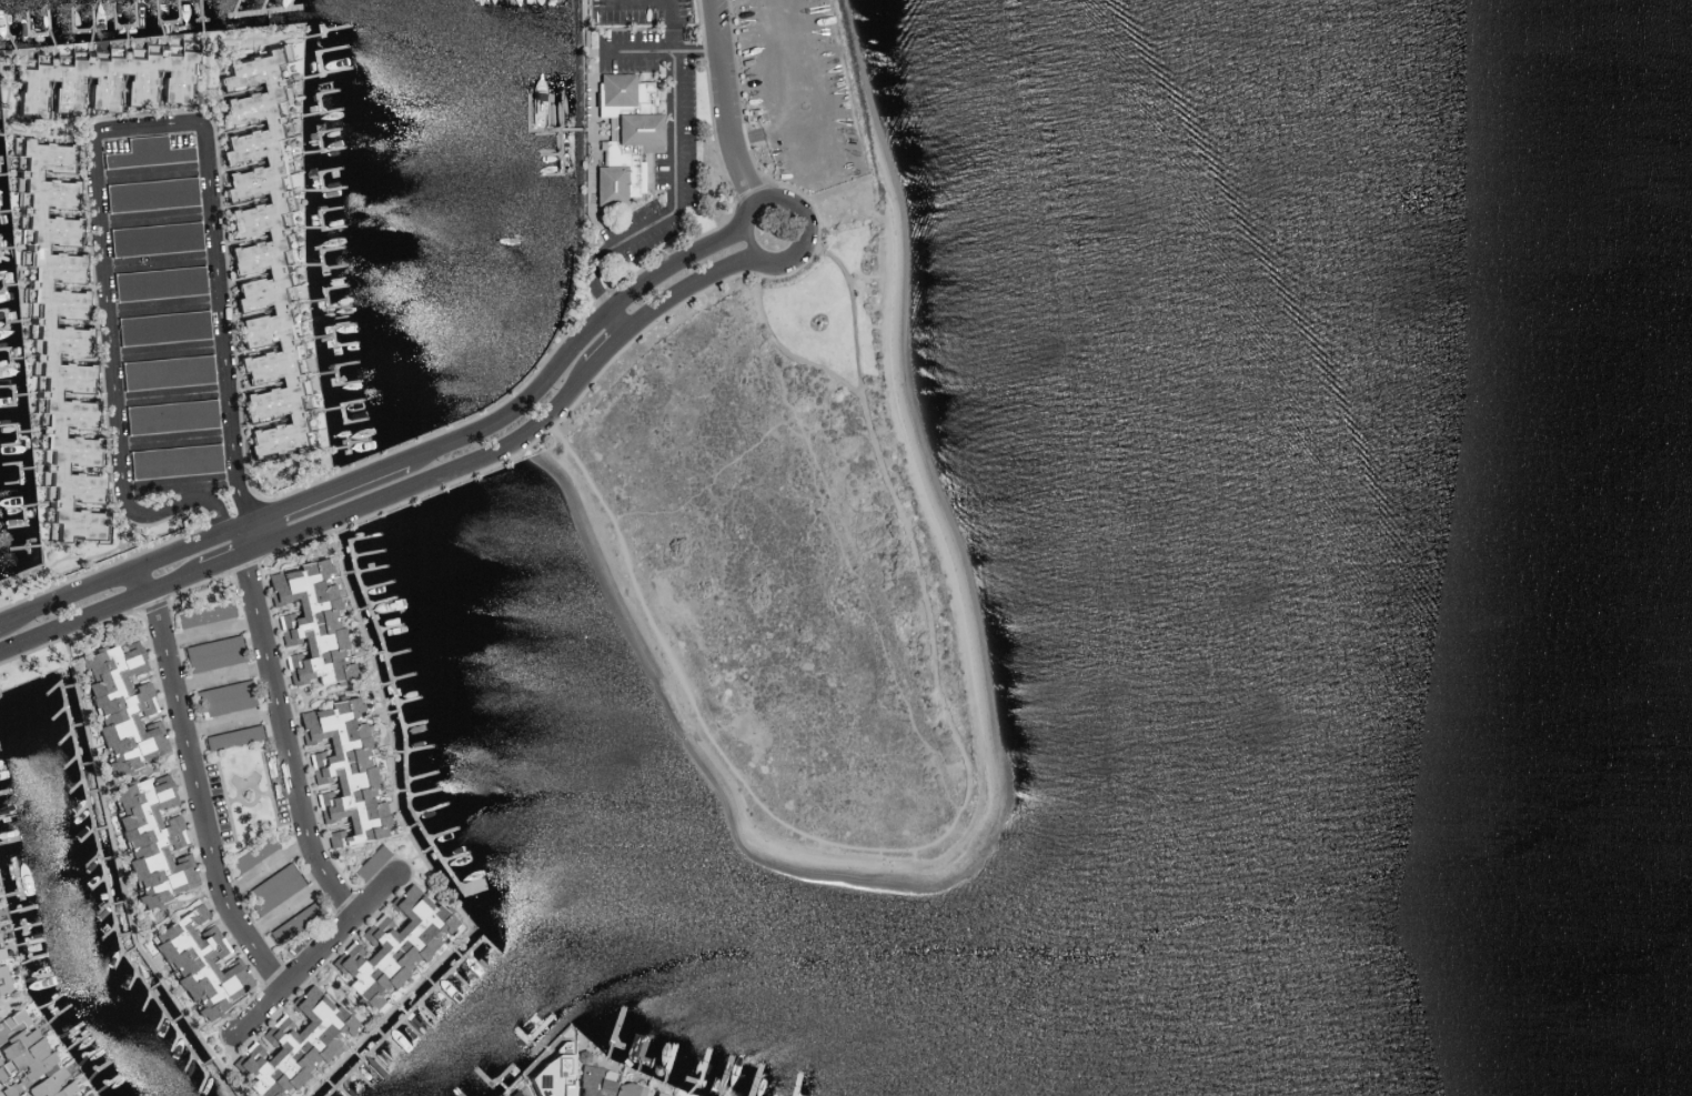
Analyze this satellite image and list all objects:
road: (659, 51)
building: (99, 80)
building: (621, 94)
road: (722, 102)
building: (636, 130)
road: (109, 134)
building: (147, 152)
road: (158, 170)
building: (615, 171)
building: (150, 193)
road: (668, 214)
road: (161, 215)
building: (153, 238)
road: (761, 258)
road: (164, 259)
building: (260, 259)
road: (686, 285)
road: (169, 302)
building: (161, 326)
road: (574, 345)
road: (172, 348)
road: (607, 349)
building: (165, 371)
road: (175, 393)
building: (170, 415)
road: (179, 439)
park: (883, 445)
building: (174, 460)
road: (435, 473)
road: (182, 480)
road: (192, 491)
road: (316, 492)
road: (229, 556)
road: (113, 574)
road: (141, 577)
road: (99, 609)
building: (204, 614)
road: (209, 629)
building: (212, 653)
road: (220, 675)
building: (222, 697)
building: (120, 706)
road: (232, 722)
building: (231, 736)
road: (286, 740)
building: (342, 772)
road: (199, 796)
building: (150, 839)
building: (252, 854)
building: (370, 862)
road: (270, 868)
building: (273, 887)
building: (294, 922)
building: (391, 947)
road: (321, 954)
building: (0, 956)
building: (199, 966)
building: (3, 979)
building: (292, 1045)
building: (28, 1062)
building: (591, 1082)
building: (625, 1089)
building: (512, 1093)
building: (656, 1094)
building: (641, 1095)

